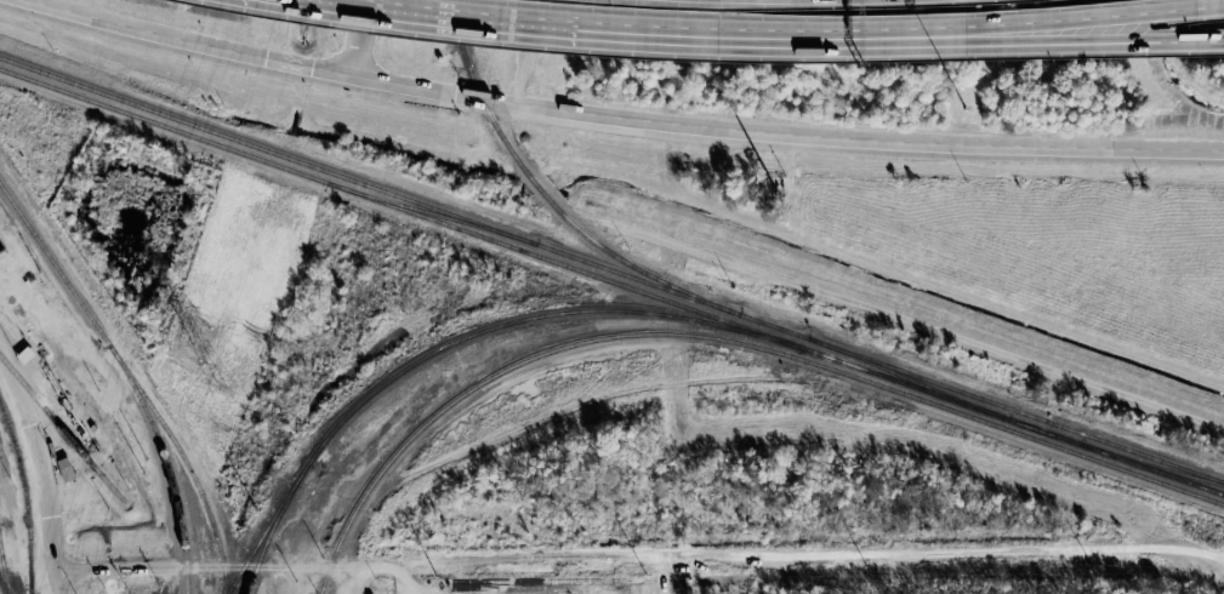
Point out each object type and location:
road: (1036, 24)
road: (590, 30)
road: (359, 36)
road: (1036, 40)
railway: (477, 88)
road: (622, 118)
railway: (369, 184)
railway: (536, 184)
railway: (399, 207)
railway: (431, 211)
railway: (636, 267)
road: (918, 322)
railway: (772, 325)
power tower: (189, 337)
railway: (457, 339)
railway: (724, 339)
railway: (906, 377)
railway: (132, 379)
power tower: (222, 387)
railway: (1015, 409)
railway: (1012, 419)
railway: (62, 430)
railway: (166, 463)
railway: (1151, 464)
road: (41, 472)
railway: (24, 497)
railway: (272, 526)
road: (641, 560)
railway: (4, 572)
road: (365, 579)
railway: (1, 588)

